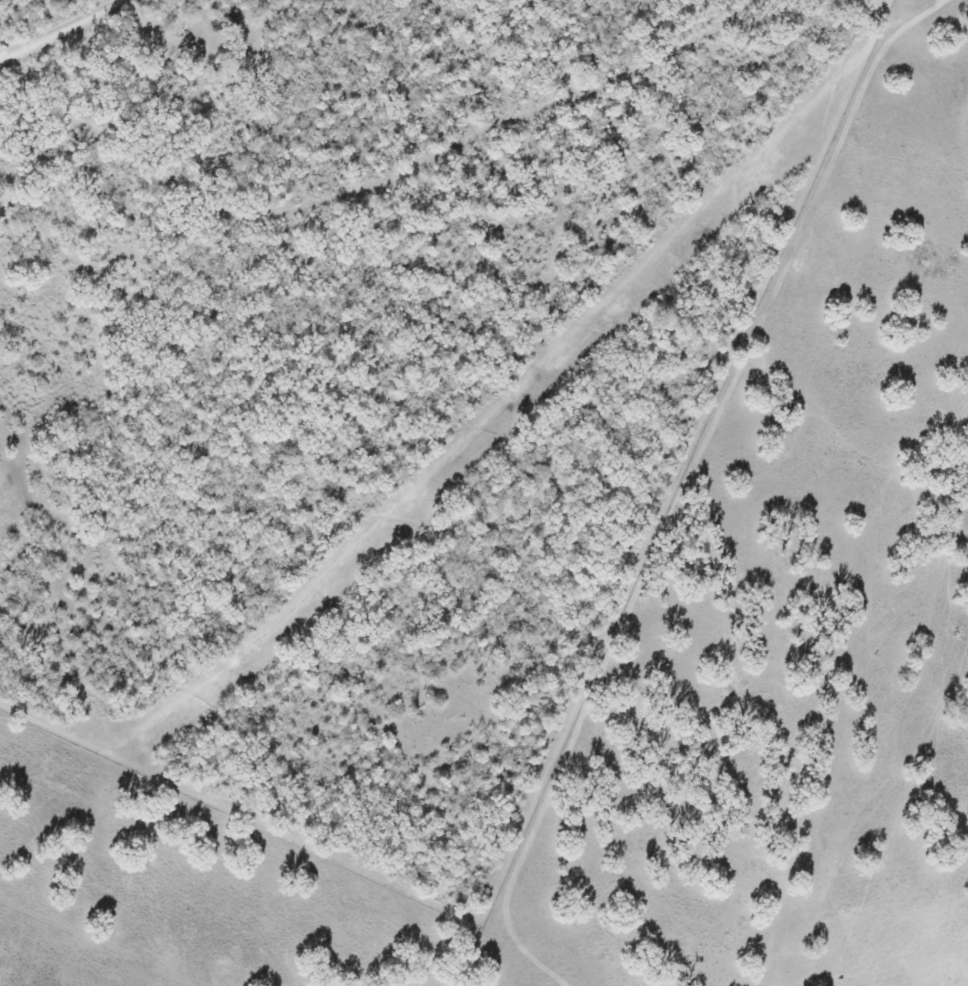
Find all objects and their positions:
road: (32, 23)

